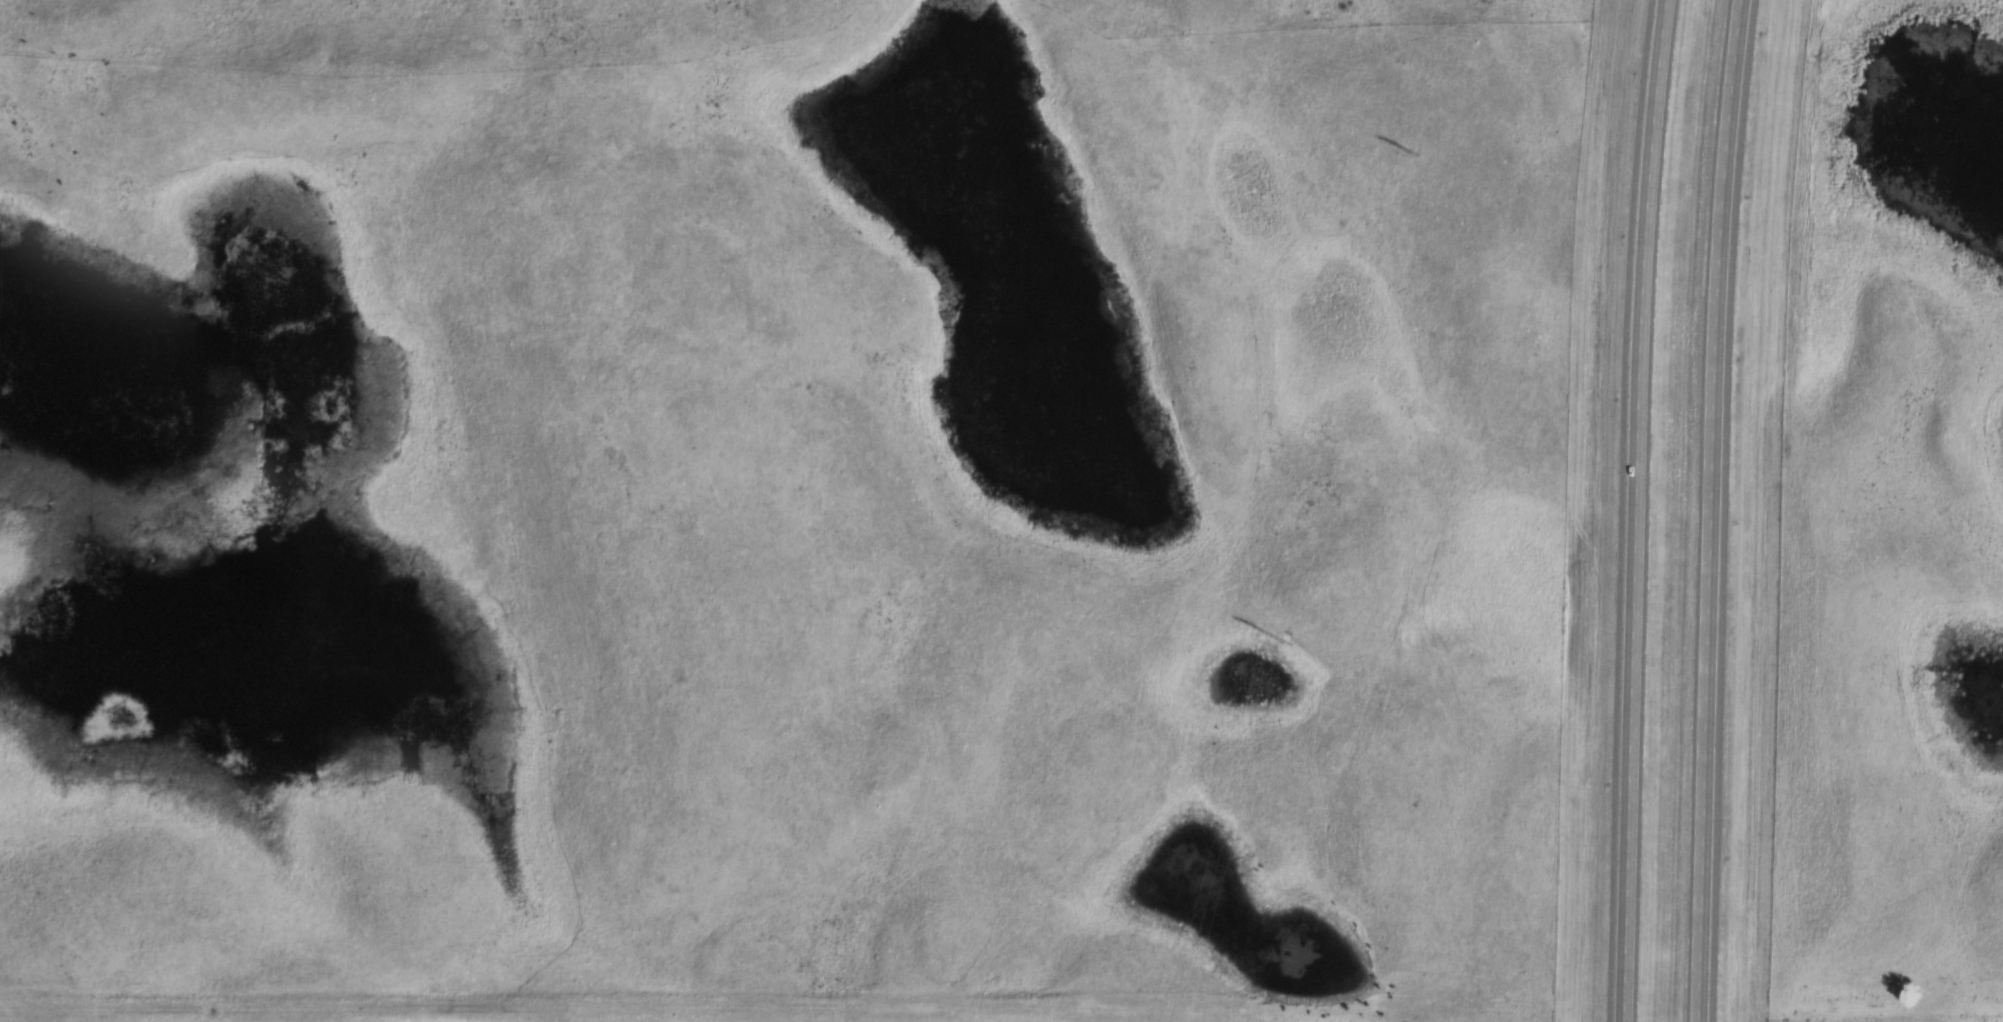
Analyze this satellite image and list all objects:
power tower: (1405, 150)
road: (1637, 510)
road: (1720, 510)
power tower: (1278, 640)
road: (1895, 1014)

